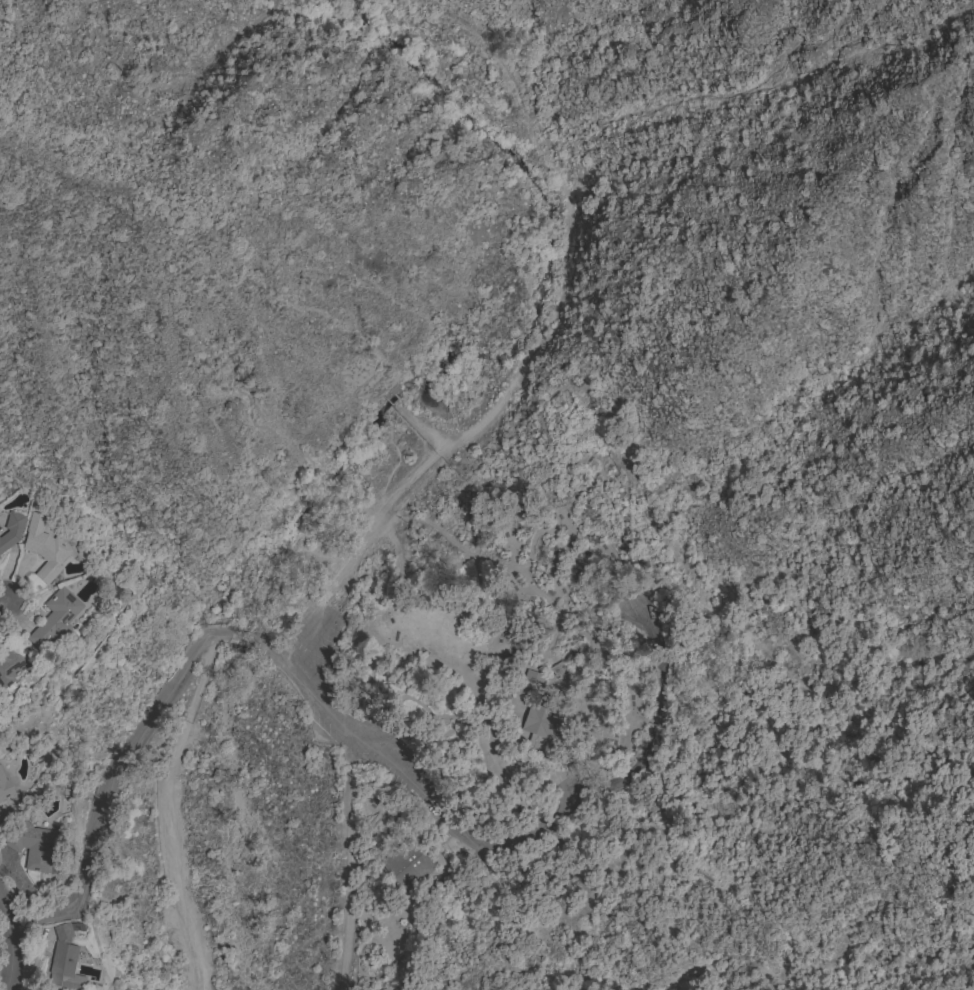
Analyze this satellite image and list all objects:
building: (11, 529)
building: (43, 547)
road: (508, 566)
road: (1, 606)
building: (54, 618)
road: (246, 638)
building: (13, 662)
building: (533, 677)
building: (544, 686)
parking lot: (322, 702)
building: (537, 720)
road: (337, 722)
building: (524, 738)
road: (108, 781)
building: (4, 787)
road: (606, 790)
road: (167, 810)
building: (32, 844)
road: (354, 862)
building: (406, 864)
road: (10, 947)
building: (64, 958)
building: (41, 989)

